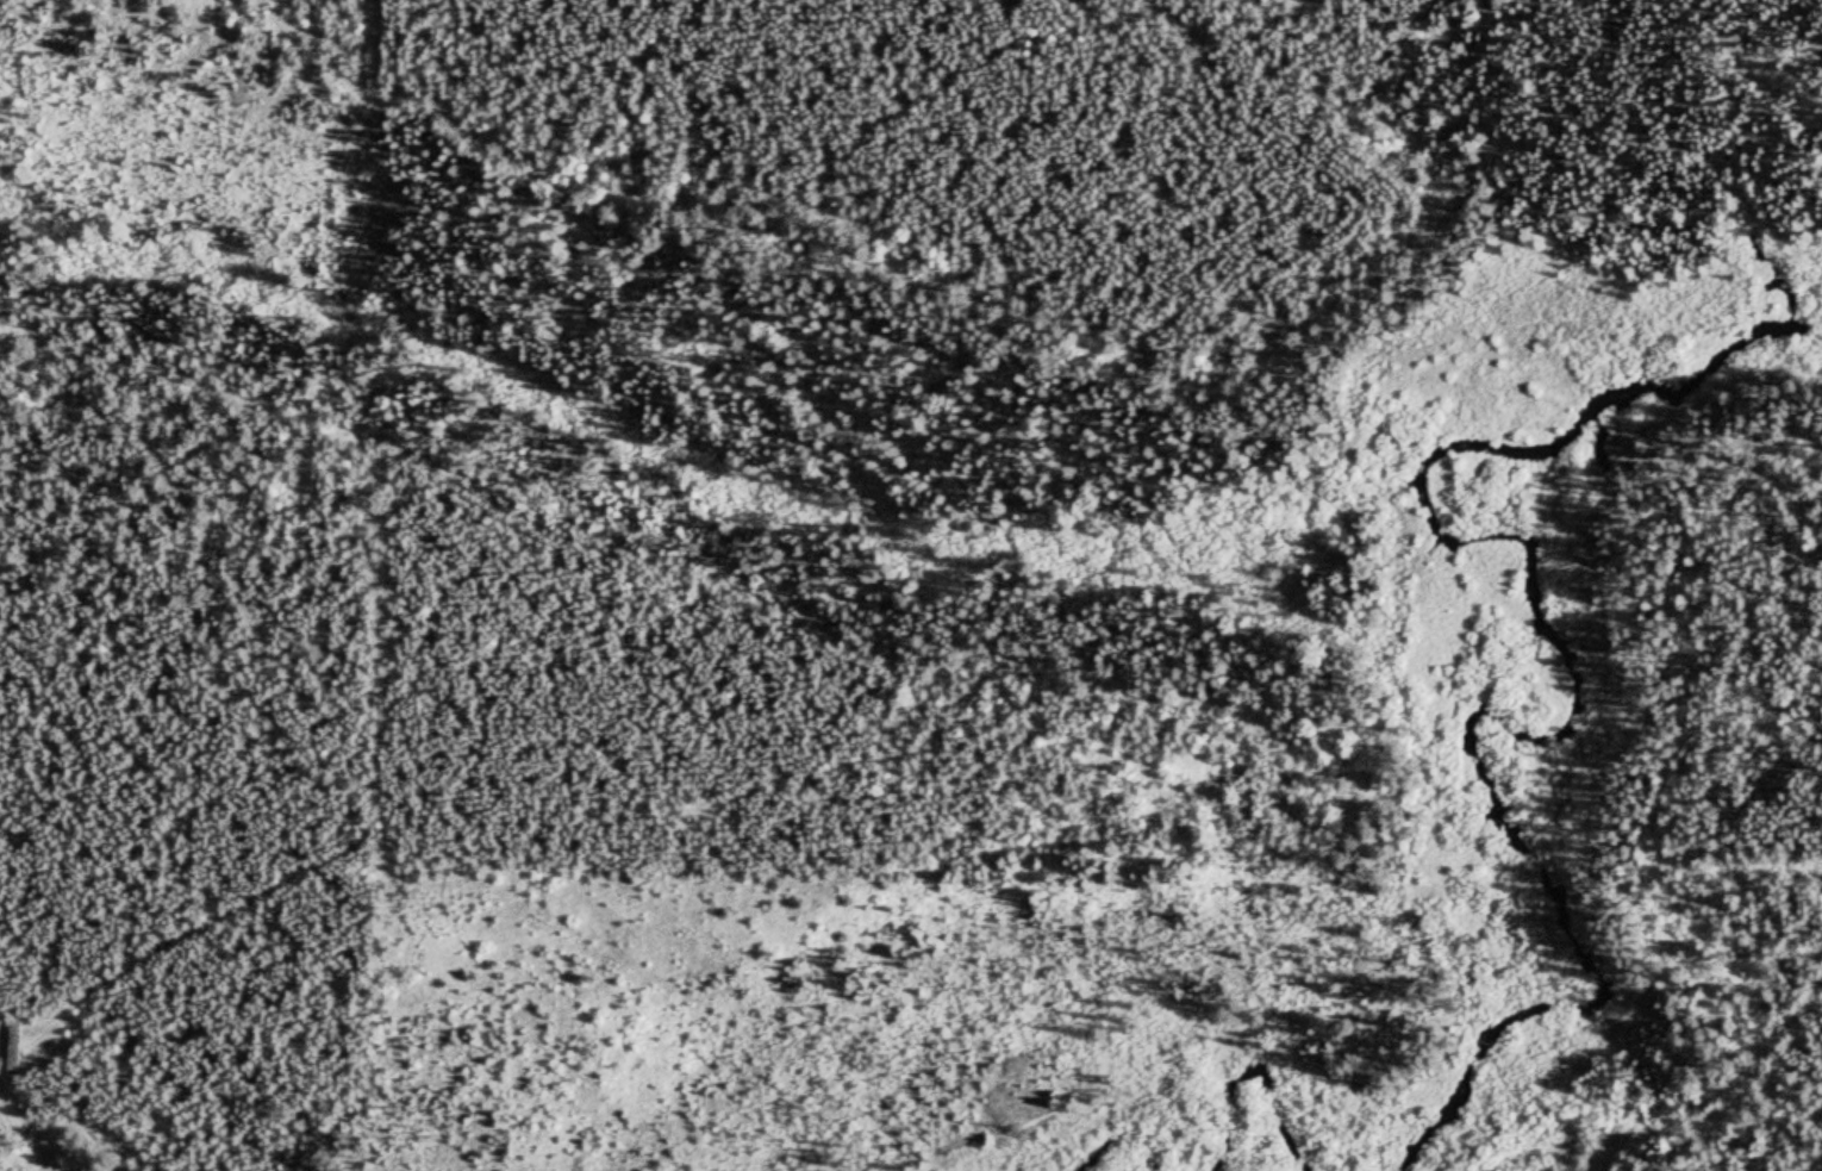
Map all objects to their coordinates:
river: (1636, 434)
river: (1490, 864)
road: (15, 1039)
building: (14, 1044)
building: (82, 1160)

